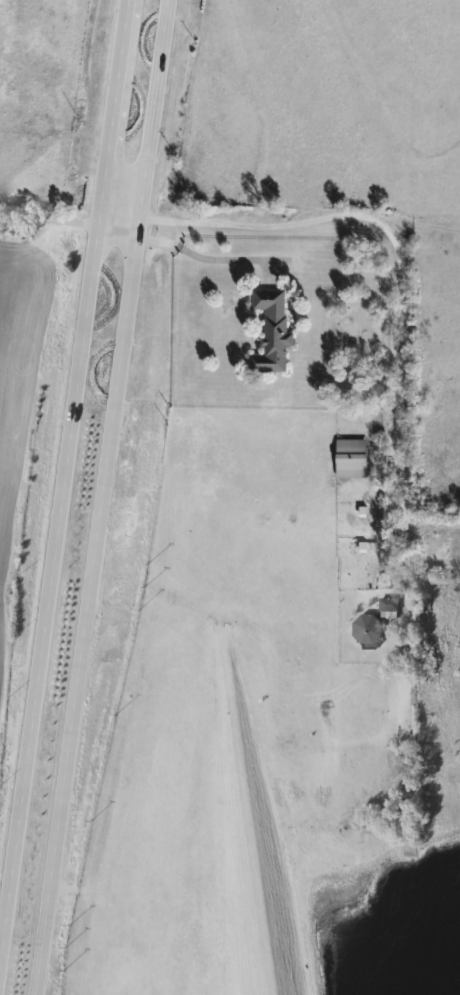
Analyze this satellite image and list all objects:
road: (116, 201)
road: (161, 237)
road: (221, 258)
road: (399, 286)
building: (271, 330)
road: (60, 457)
building: (351, 457)
road: (97, 497)
building: (386, 605)
building: (366, 629)

